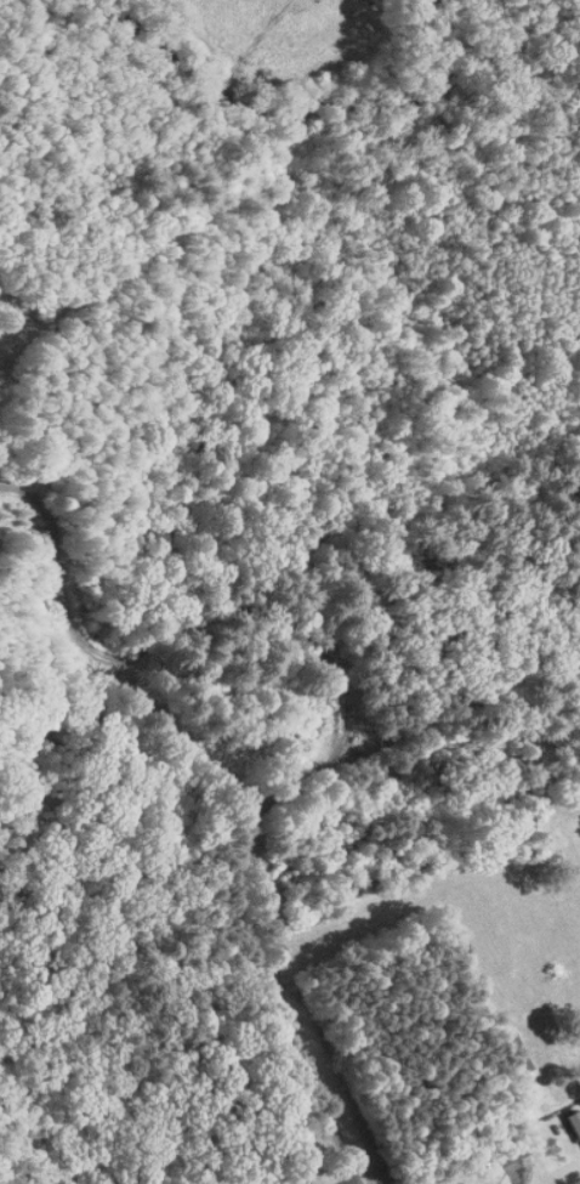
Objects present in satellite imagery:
road: (349, 715)
road: (349, 1182)

